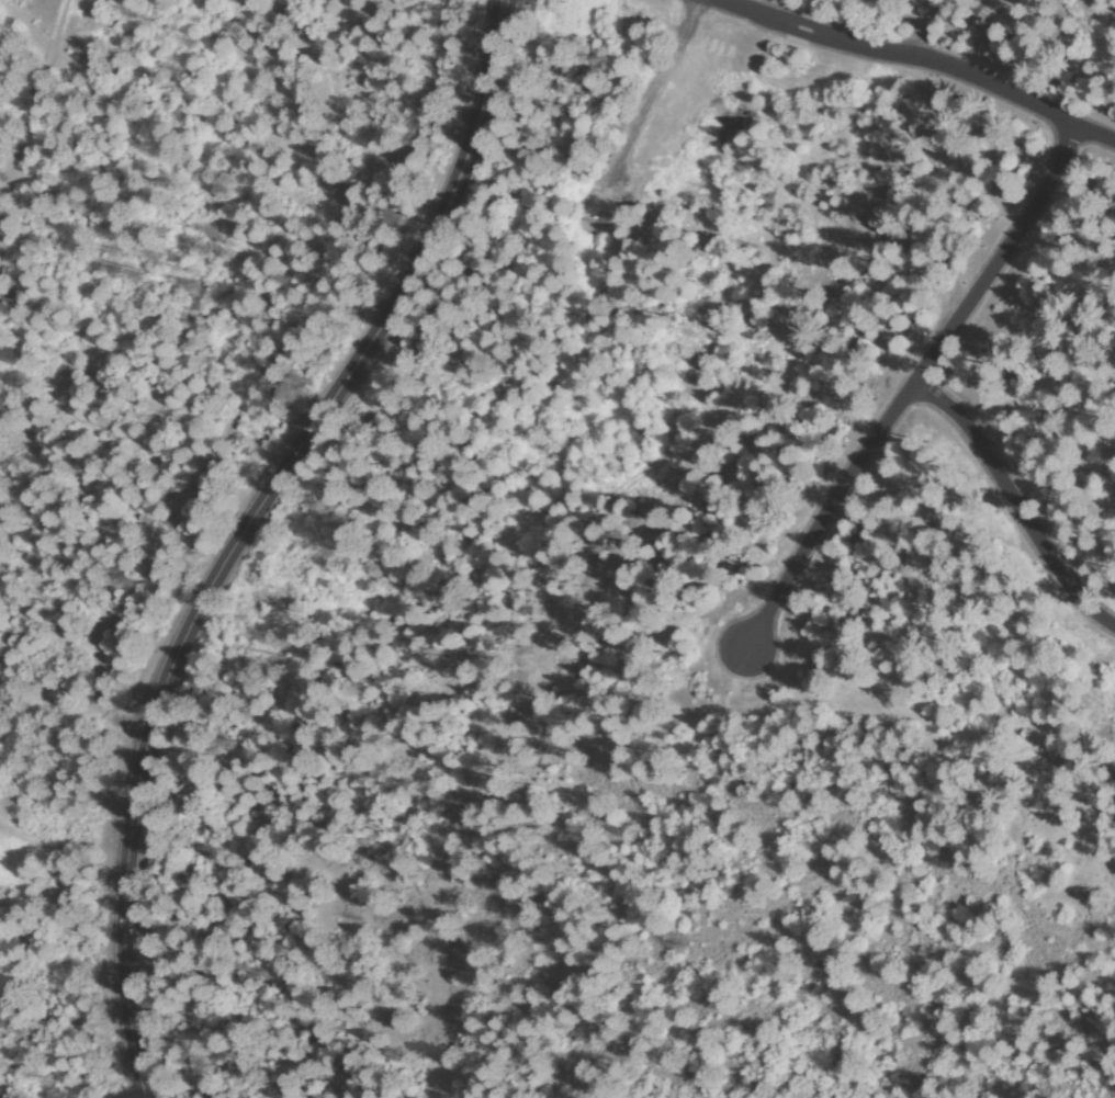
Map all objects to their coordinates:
road: (966, 32)
road: (919, 58)
road: (36, 134)
road: (261, 380)
road: (914, 392)
road: (1021, 502)
road: (249, 530)
building: (294, 760)
road: (632, 928)

